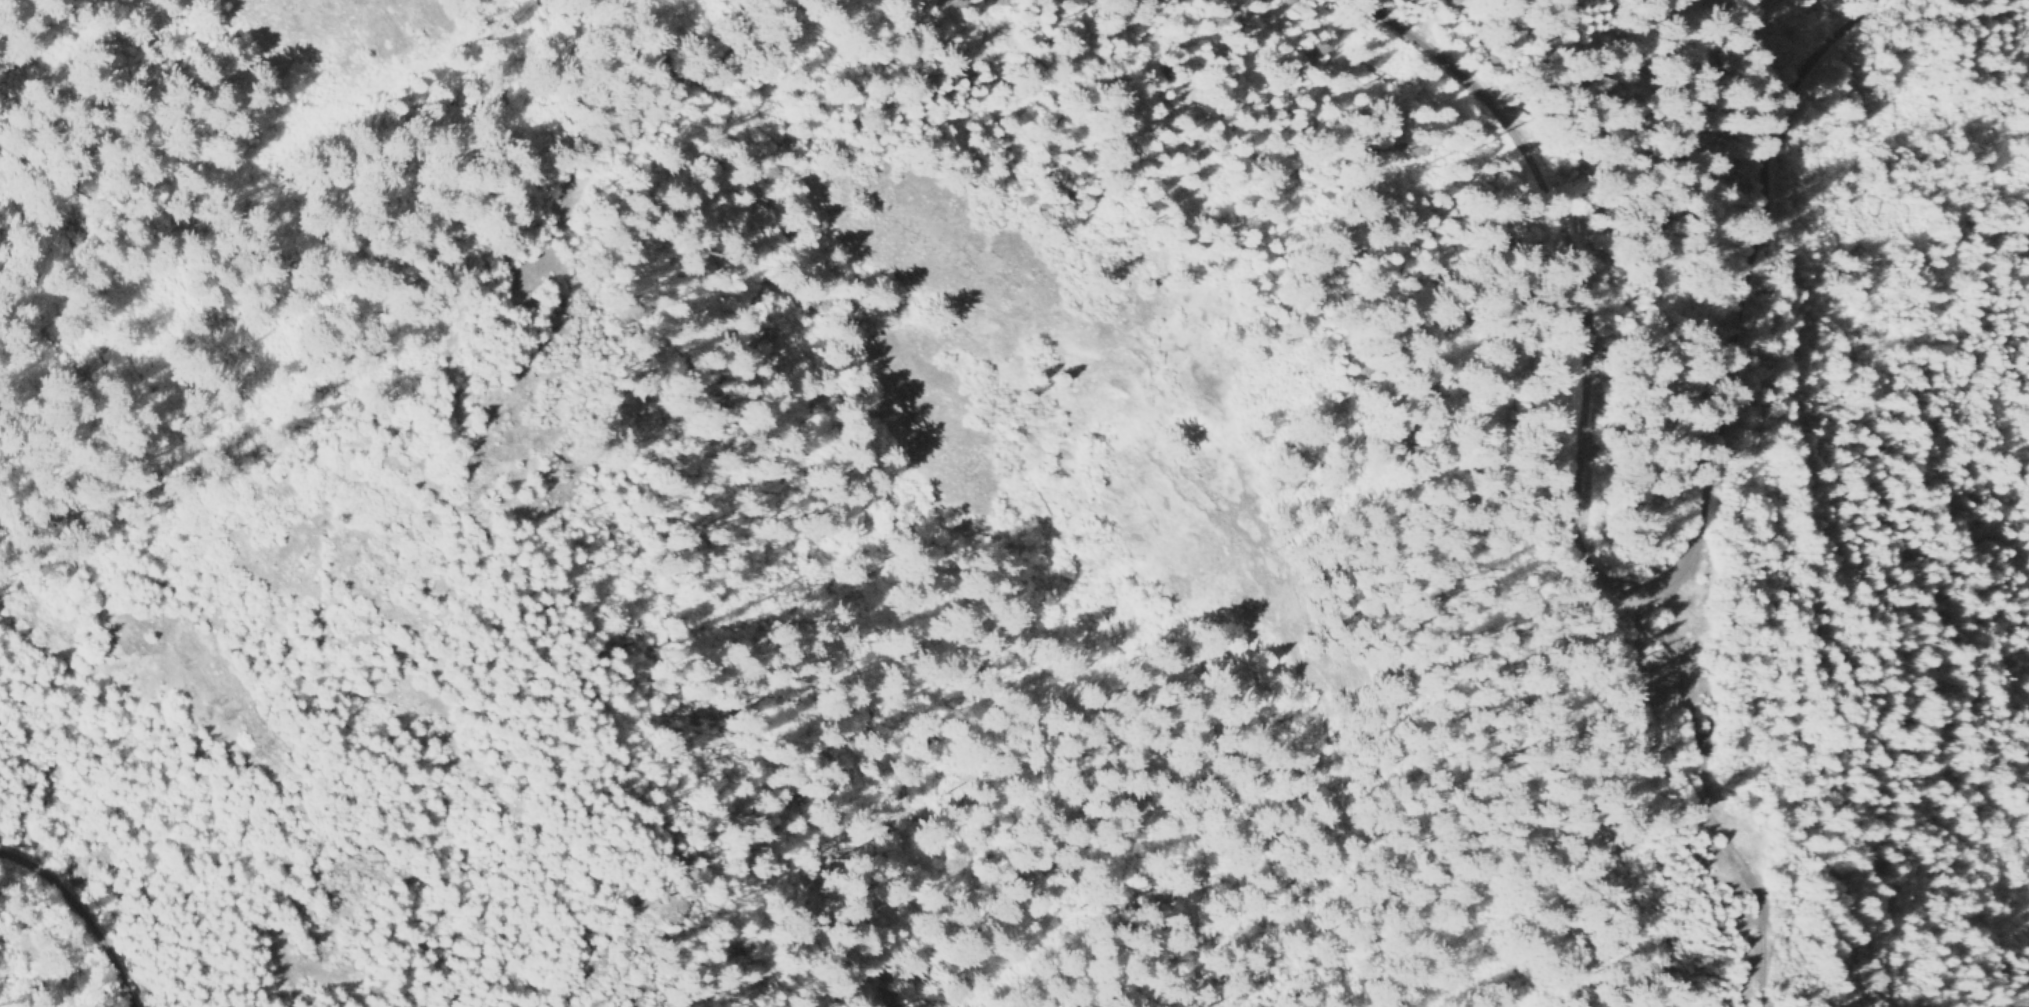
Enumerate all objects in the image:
road: (1614, 588)
road: (1682, 800)
road: (80, 918)

